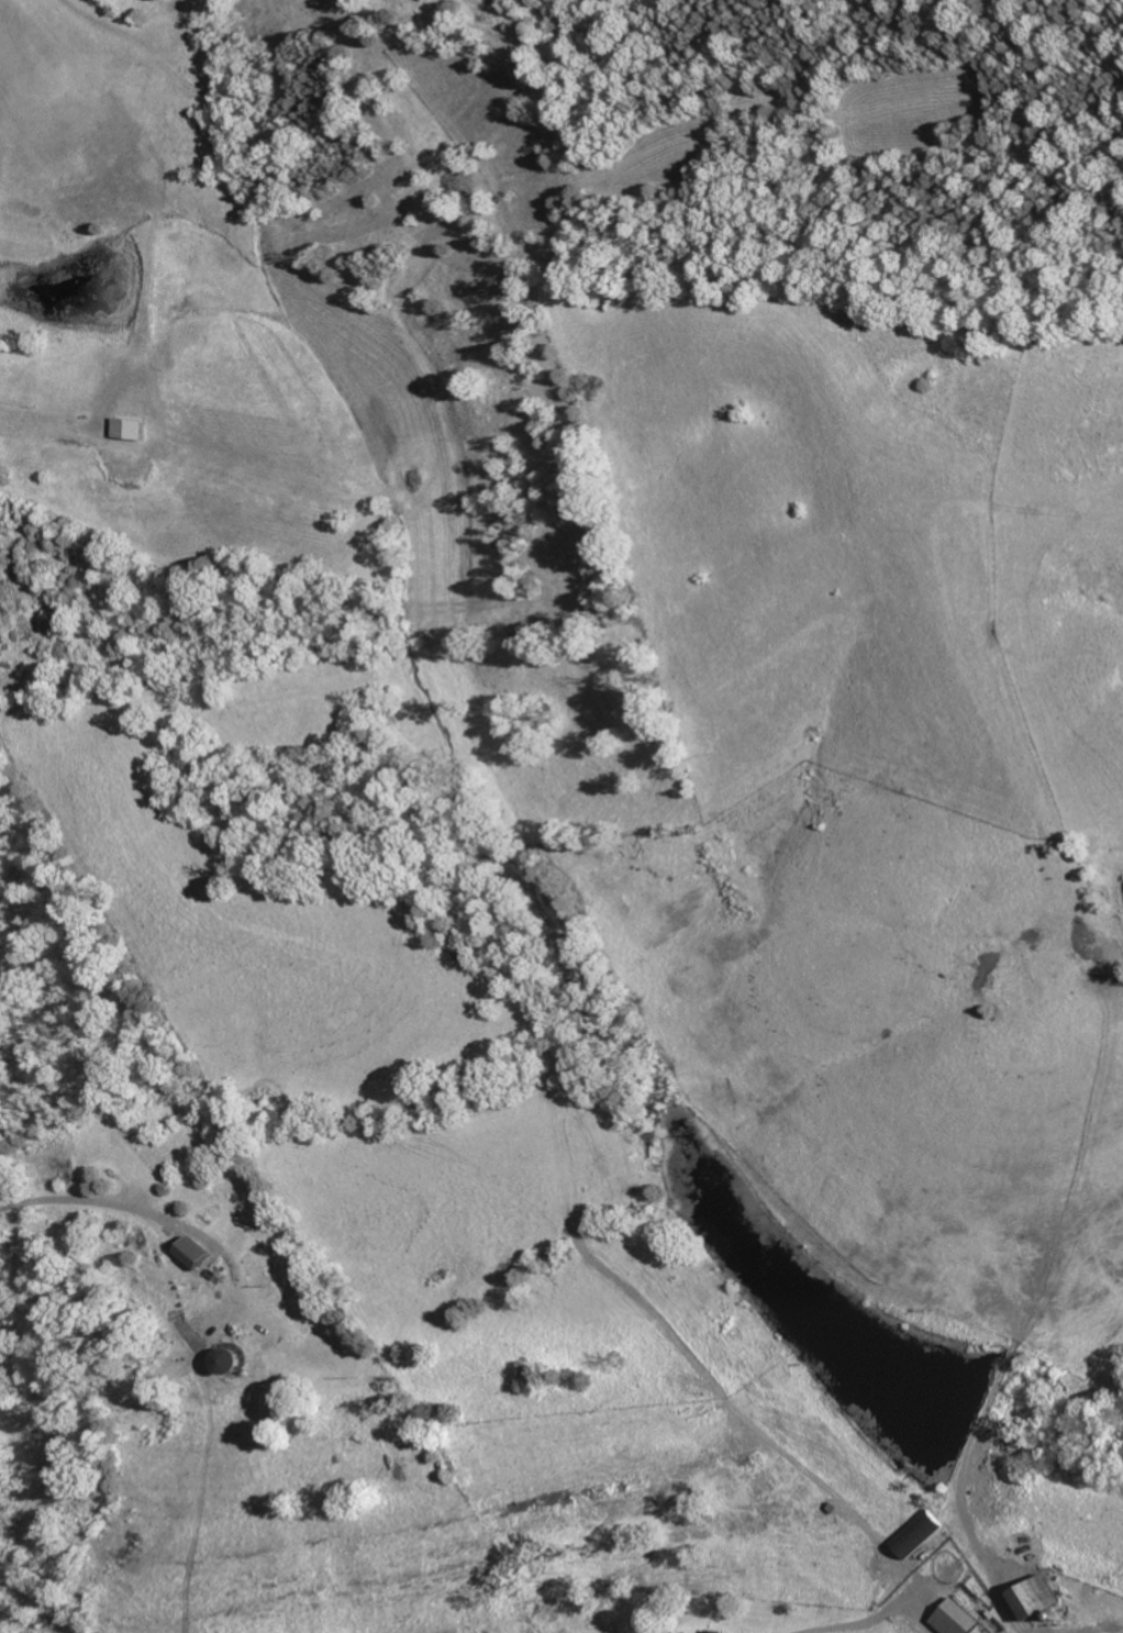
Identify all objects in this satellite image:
road: (114, 1199)
building: (240, 1358)
road: (985, 1564)
building: (1041, 1597)
road: (32, 1604)
building: (956, 1618)
road: (841, 1622)
building: (713, 1631)

